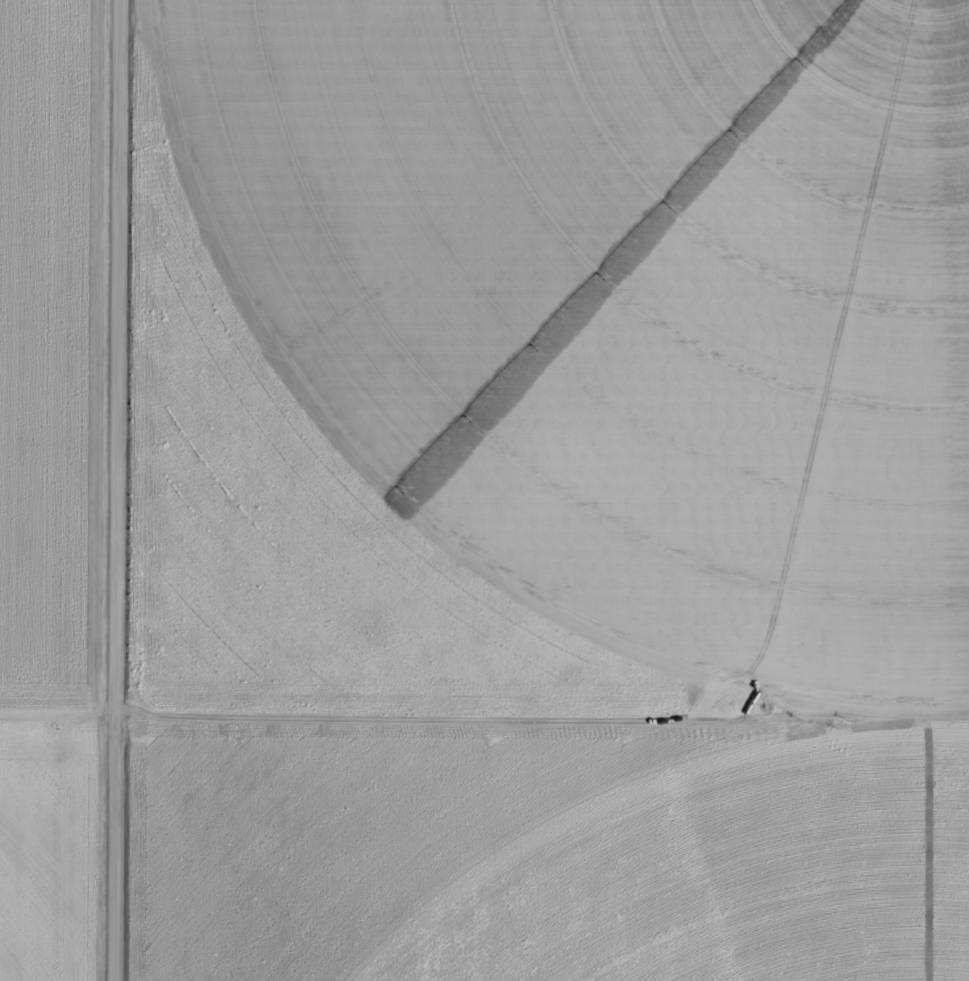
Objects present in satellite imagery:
road: (86, 490)
road: (484, 722)

